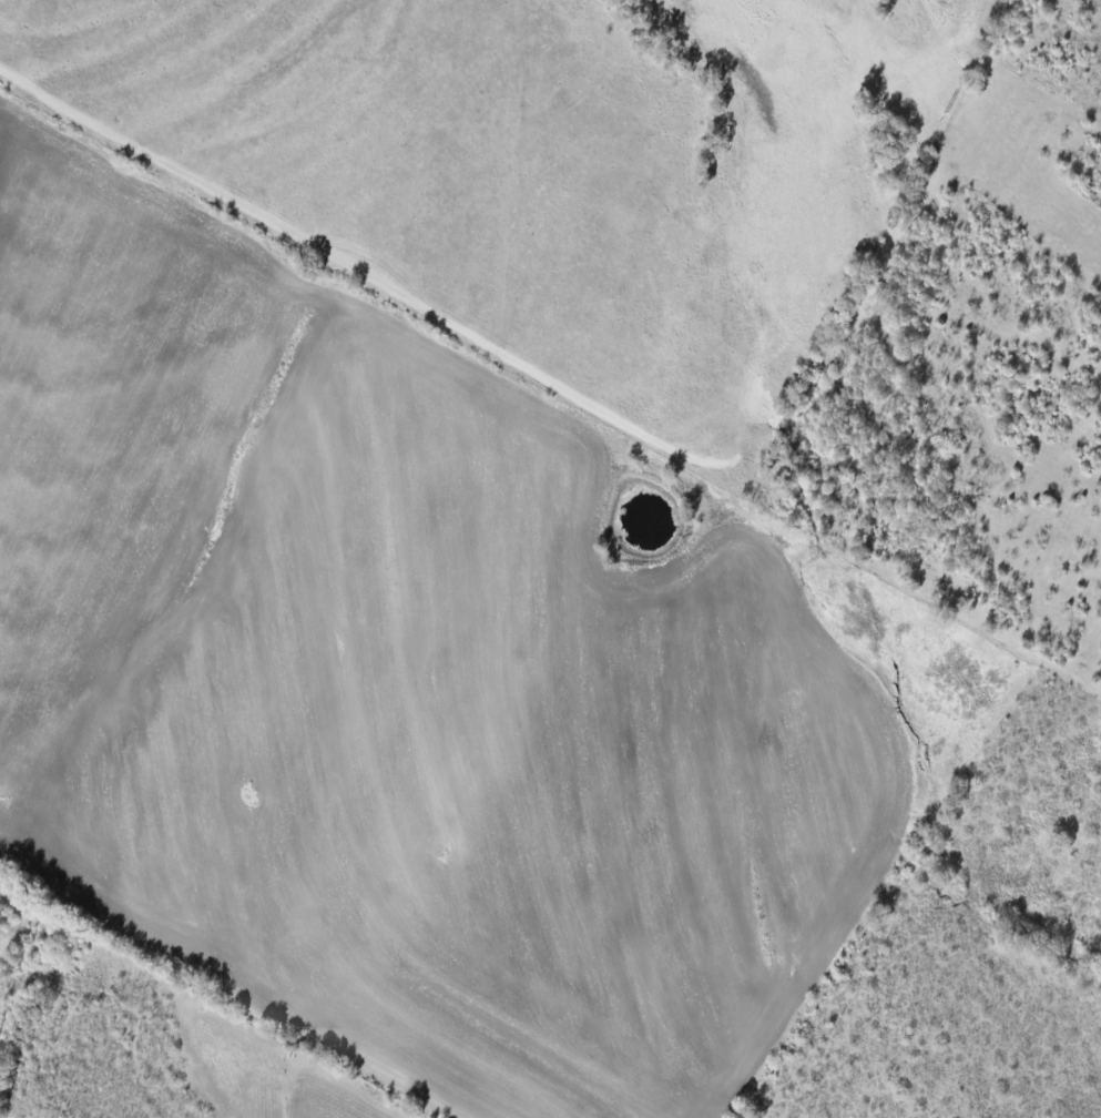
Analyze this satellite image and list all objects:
power tower: (946, 113)

